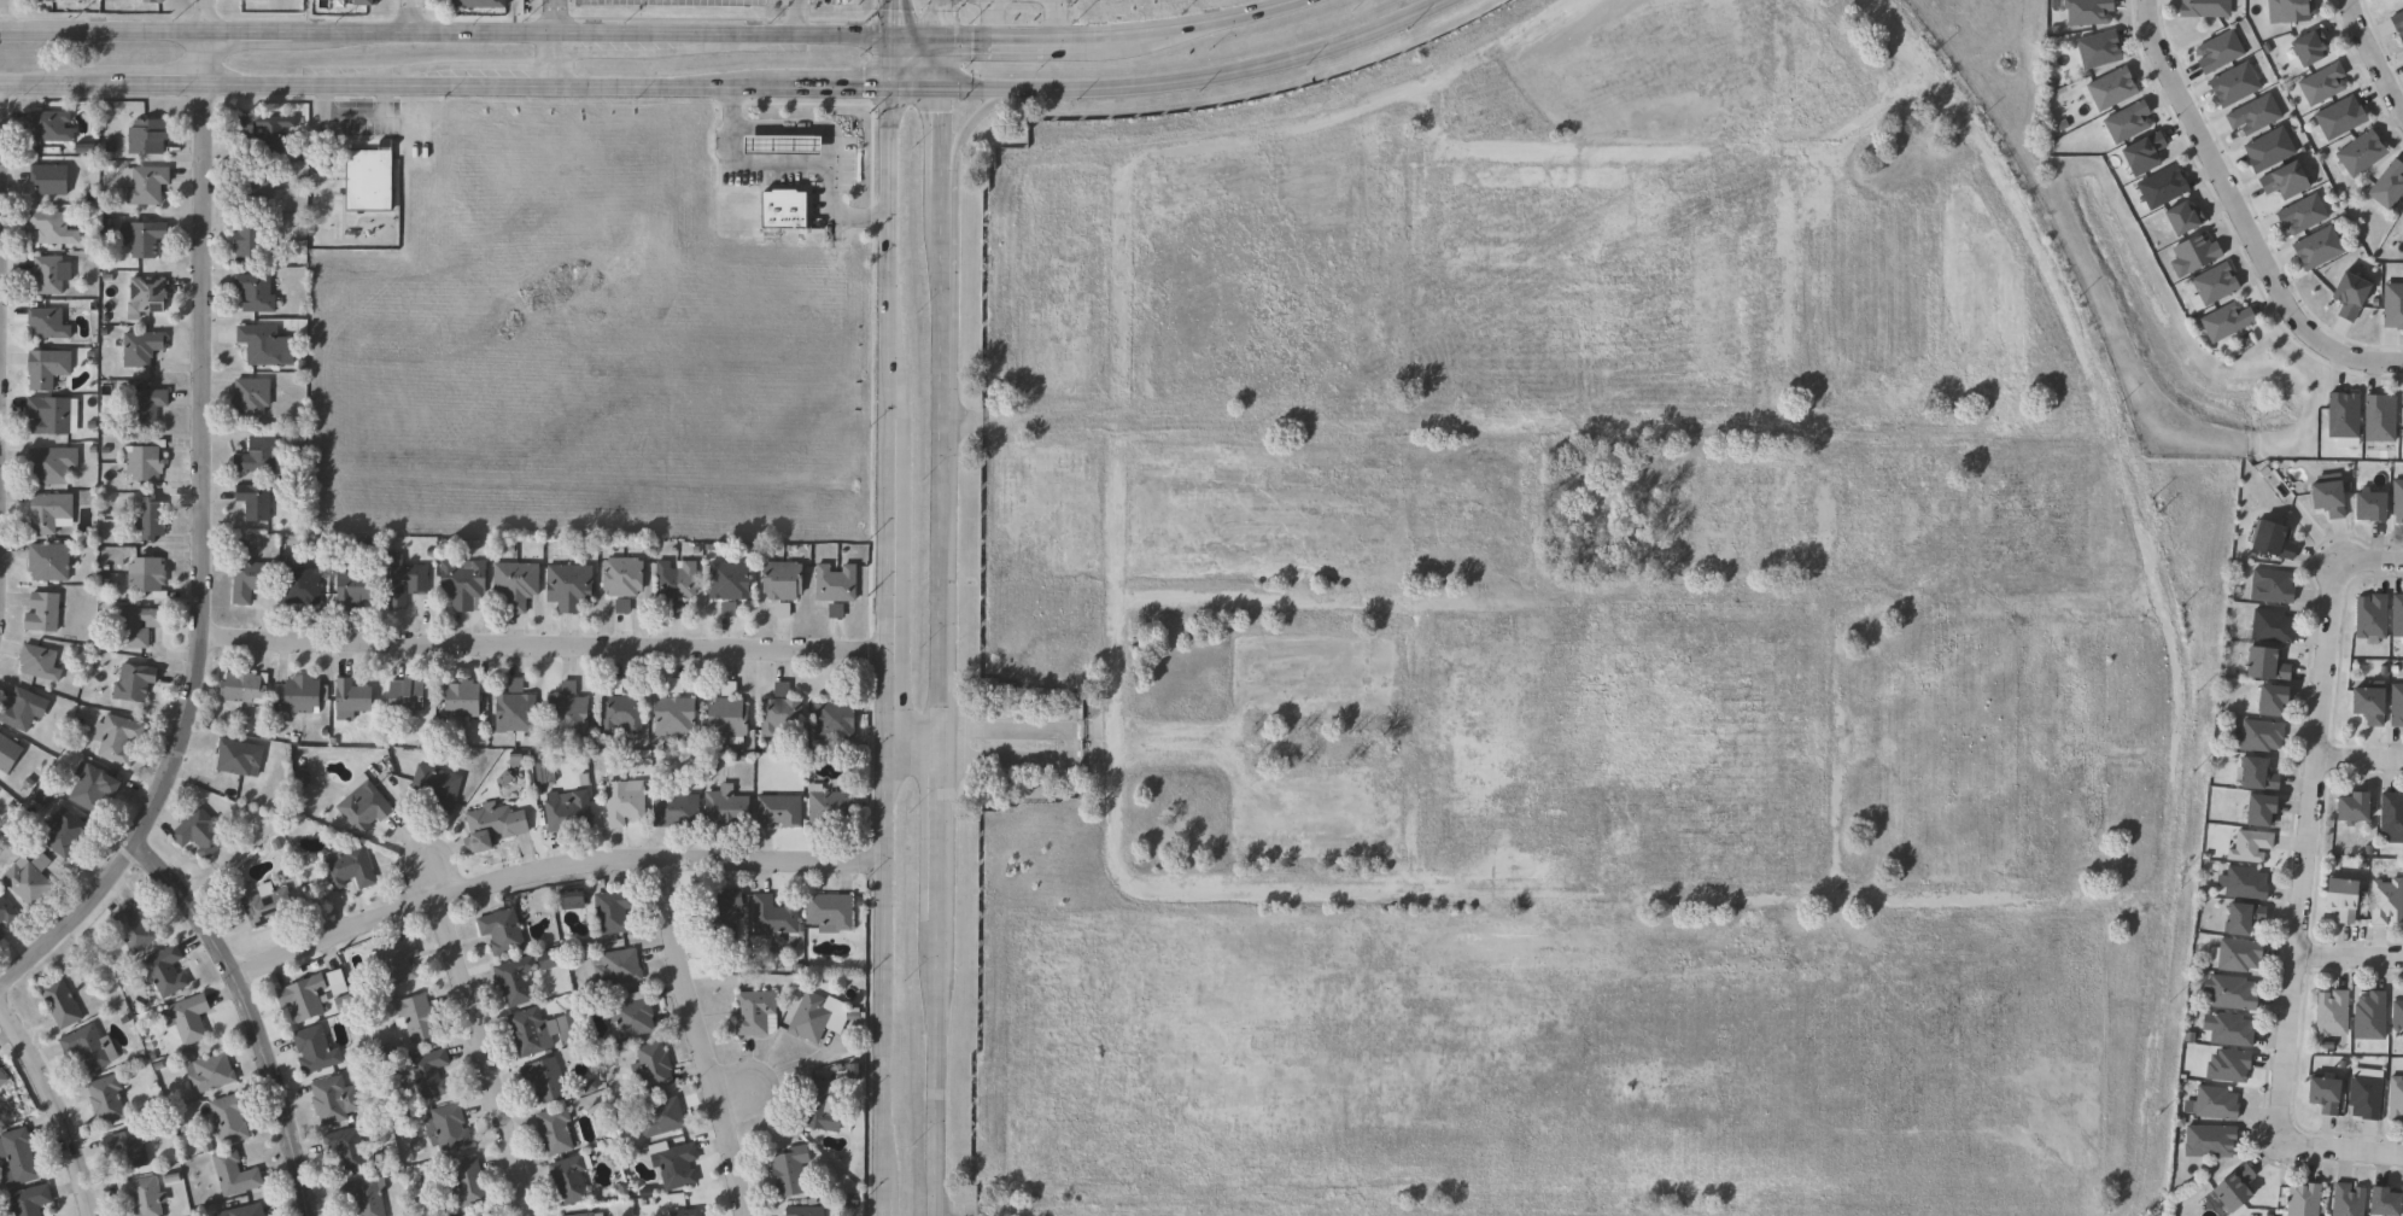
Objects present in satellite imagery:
building: (47, 0)
building: (247, 0)
building: (2380, 0)
building: (153, 1)
road: (988, 1)
building: (1018, 1)
building: (481, 4)
building: (2204, 8)
building: (2288, 11)
building: (2087, 12)
road: (2, 13)
road: (206, 14)
road: (413, 16)
road: (556, 16)
road: (793, 16)
road: (895, 18)
road: (986, 18)
road: (1051, 18)
road: (946, 19)
building: (2398, 25)
road: (649, 31)
traffic signals: (895, 36)
traffic signals: (946, 39)
road: (1492, 43)
building: (2309, 48)
building: (2098, 51)
building: (2217, 53)
road: (205, 57)
road: (556, 58)
road: (2372, 63)
parking lot: (1682, 72)
road: (730, 84)
traffic signals: (893, 84)
traffic signals: (945, 84)
building: (2233, 84)
building: (2322, 84)
building: (2110, 89)
building: (2253, 116)
building: (2339, 118)
building: (2127, 122)
road: (971, 123)
building: (53, 127)
building: (268, 133)
building: (148, 138)
building: (778, 144)
building: (2268, 151)
building: (2361, 153)
road: (1708, 154)
building: (2142, 154)
road: (787, 159)
building: (51, 179)
building: (372, 180)
building: (2284, 182)
building: (146, 185)
building: (2387, 186)
building: (259, 187)
building: (2162, 187)
building: (780, 206)
building: (2302, 215)
road: (2239, 216)
building: (2182, 220)
building: (2402, 226)
building: (54, 228)
building: (146, 235)
building: (251, 241)
building: (2317, 249)
building: (2196, 253)
road: (1822, 264)
building: (51, 276)
building: (2214, 285)
building: (1591, 288)
building: (257, 292)
building: (148, 296)
building: (2350, 297)
road: (1, 299)
building: (2392, 308)
building: (2226, 321)
building: (49, 325)
building: (265, 345)
building: (142, 349)
building: (49, 369)
parking lot: (1236, 372)
road: (1113, 373)
building: (253, 397)
building: (148, 407)
building: (52, 415)
building: (2343, 417)
building: (2379, 417)
building: (2402, 417)
road: (1522, 425)
building: (262, 457)
building: (148, 463)
building: (53, 466)
building: (2327, 497)
building: (2397, 499)
building: (258, 502)
building: (2369, 504)
road: (1808, 513)
building: (52, 514)
building: (1723, 515)
building: (153, 519)
building: (1922, 536)
building: (2272, 539)
building: (52, 562)
road: (204, 569)
road: (2151, 575)
building: (251, 577)
building: (150, 578)
building: (408, 581)
building: (618, 581)
building: (466, 584)
building: (515, 584)
building: (565, 584)
building: (673, 584)
building: (726, 584)
building: (778, 584)
building: (2273, 585)
building: (304, 587)
building: (358, 587)
building: (831, 587)
road: (1635, 603)
building: (45, 612)
building: (2370, 615)
building: (2397, 615)
building: (1492, 624)
road: (887, 625)
building: (139, 626)
road: (942, 626)
building: (2272, 626)
road: (545, 642)
building: (41, 662)
building: (2264, 663)
building: (1863, 679)
building: (136, 683)
building: (245, 686)
building: (304, 694)
building: (409, 697)
building: (468, 697)
building: (353, 698)
building: (2272, 700)
building: (2368, 703)
building: (2396, 705)
building: (24, 708)
building: (515, 708)
building: (565, 711)
building: (618, 712)
building: (671, 712)
building: (778, 712)
building: (831, 714)
building: (724, 717)
road: (914, 731)
building: (2258, 735)
building: (118, 736)
parking lot: (1315, 746)
building: (1606, 748)
road: (1829, 749)
building: (10, 752)
building: (240, 756)
road: (2357, 759)
road: (1170, 762)
building: (2257, 774)
building: (95, 787)
building: (440, 788)
building: (620, 802)
building: (0, 803)
building: (828, 806)
building: (672, 807)
building: (367, 808)
building: (723, 808)
building: (2352, 808)
building: (776, 811)
building: (2259, 811)
building: (565, 812)
road: (2306, 815)
building: (2391, 817)
building: (495, 825)
building: (66, 832)
building: (203, 832)
building: (2249, 847)
road: (552, 866)
building: (350, 867)
building: (30, 878)
road: (431, 878)
building: (2243, 883)
road: (1499, 891)
building: (566, 898)
building: (2340, 899)
road: (1353, 900)
road: (1485, 901)
building: (2385, 901)
building: (269, 904)
road: (1620, 904)
building: (7, 908)
building: (609, 912)
building: (826, 912)
building: (720, 913)
building: (771, 917)
building: (2243, 918)
building: (136, 925)
building: (507, 933)
building: (0, 934)
building: (2237, 954)
road: (2348, 958)
building: (551, 960)
building: (398, 963)
building: (619, 967)
building: (166, 972)
building: (518, 978)
building: (340, 982)
building: (2229, 993)
building: (305, 998)
building: (63, 1004)
road: (256, 1011)
building: (753, 1012)
building: (2331, 1013)
building: (2397, 1015)
building: (2369, 1016)
building: (635, 1017)
building: (189, 1018)
building: (419, 1018)
building: (815, 1024)
building: (572, 1028)
building: (2229, 1030)
building: (532, 1031)
road: (704, 1037)
building: (92, 1048)
building: (317, 1050)
road: (479, 1054)
parking lot: (1551, 1057)
building: (2227, 1066)
building: (650, 1068)
building: (211, 1072)
building: (429, 1074)
building: (4, 1078)
building: (548, 1080)
road: (733, 1091)
building: (2323, 1095)
building: (2363, 1097)
building: (109, 1099)
building: (2395, 1099)
building: (335, 1100)
road: (55, 1103)
building: (2215, 1104)
building: (818, 1105)
building: (661, 1117)
building: (232, 1118)
building: (449, 1128)
building: (556, 1130)
building: (2208, 1141)
building: (349, 1147)
building: (129, 1150)
road: (2338, 1150)
building: (18, 1158)
building: (679, 1167)
building: (787, 1171)
building: (236, 1174)
building: (572, 1180)
building: (469, 1182)
building: (2234, 1189)
building: (142, 1195)
building: (367, 1195)
building: (2302, 1200)
building: (2346, 1200)
building: (30, 1202)
building: (2382, 1203)
building: (246, 1211)
building: (802, 1211)
building: (685, 1212)
road: (1200, 1212)
building: (585, 1215)
building: (602, 1215)

